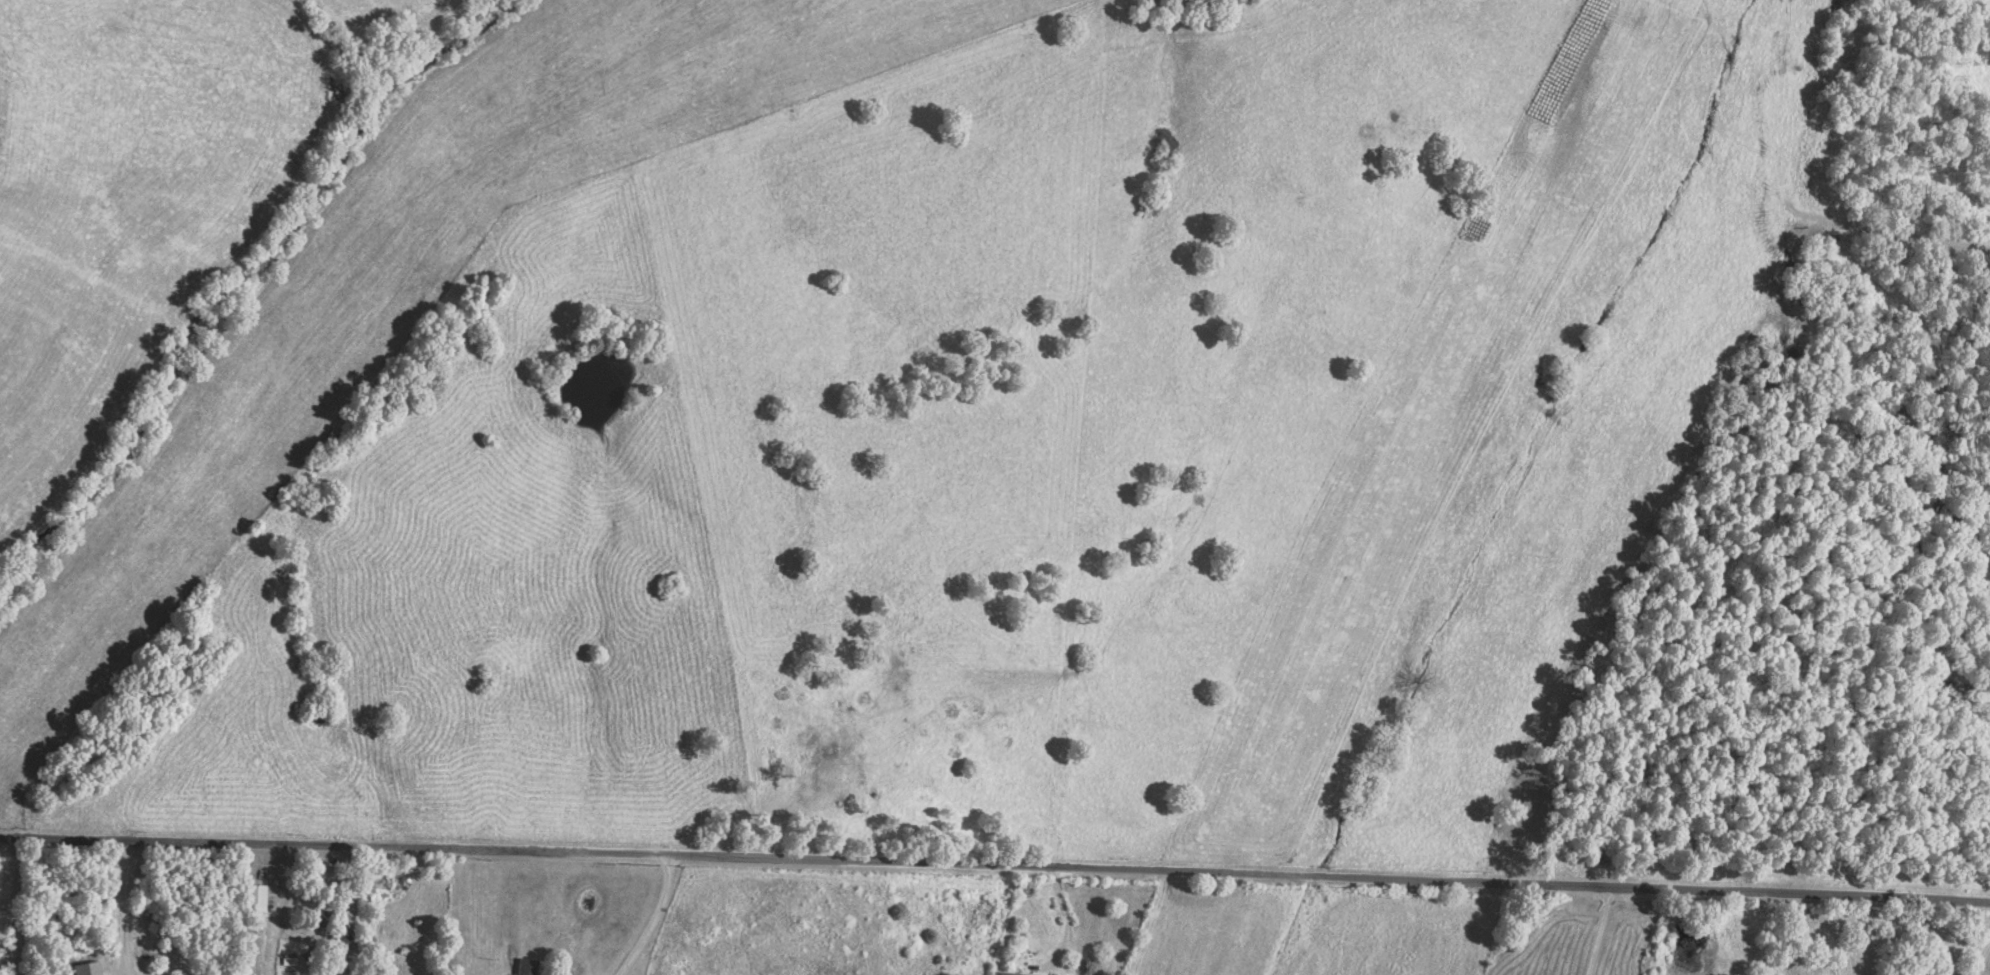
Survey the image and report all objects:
road: (995, 862)
road: (121, 907)
road: (19, 908)
road: (644, 916)
road: (1062, 918)
road: (1601, 930)
building: (527, 967)
building: (86, 969)
building: (1007, 974)

